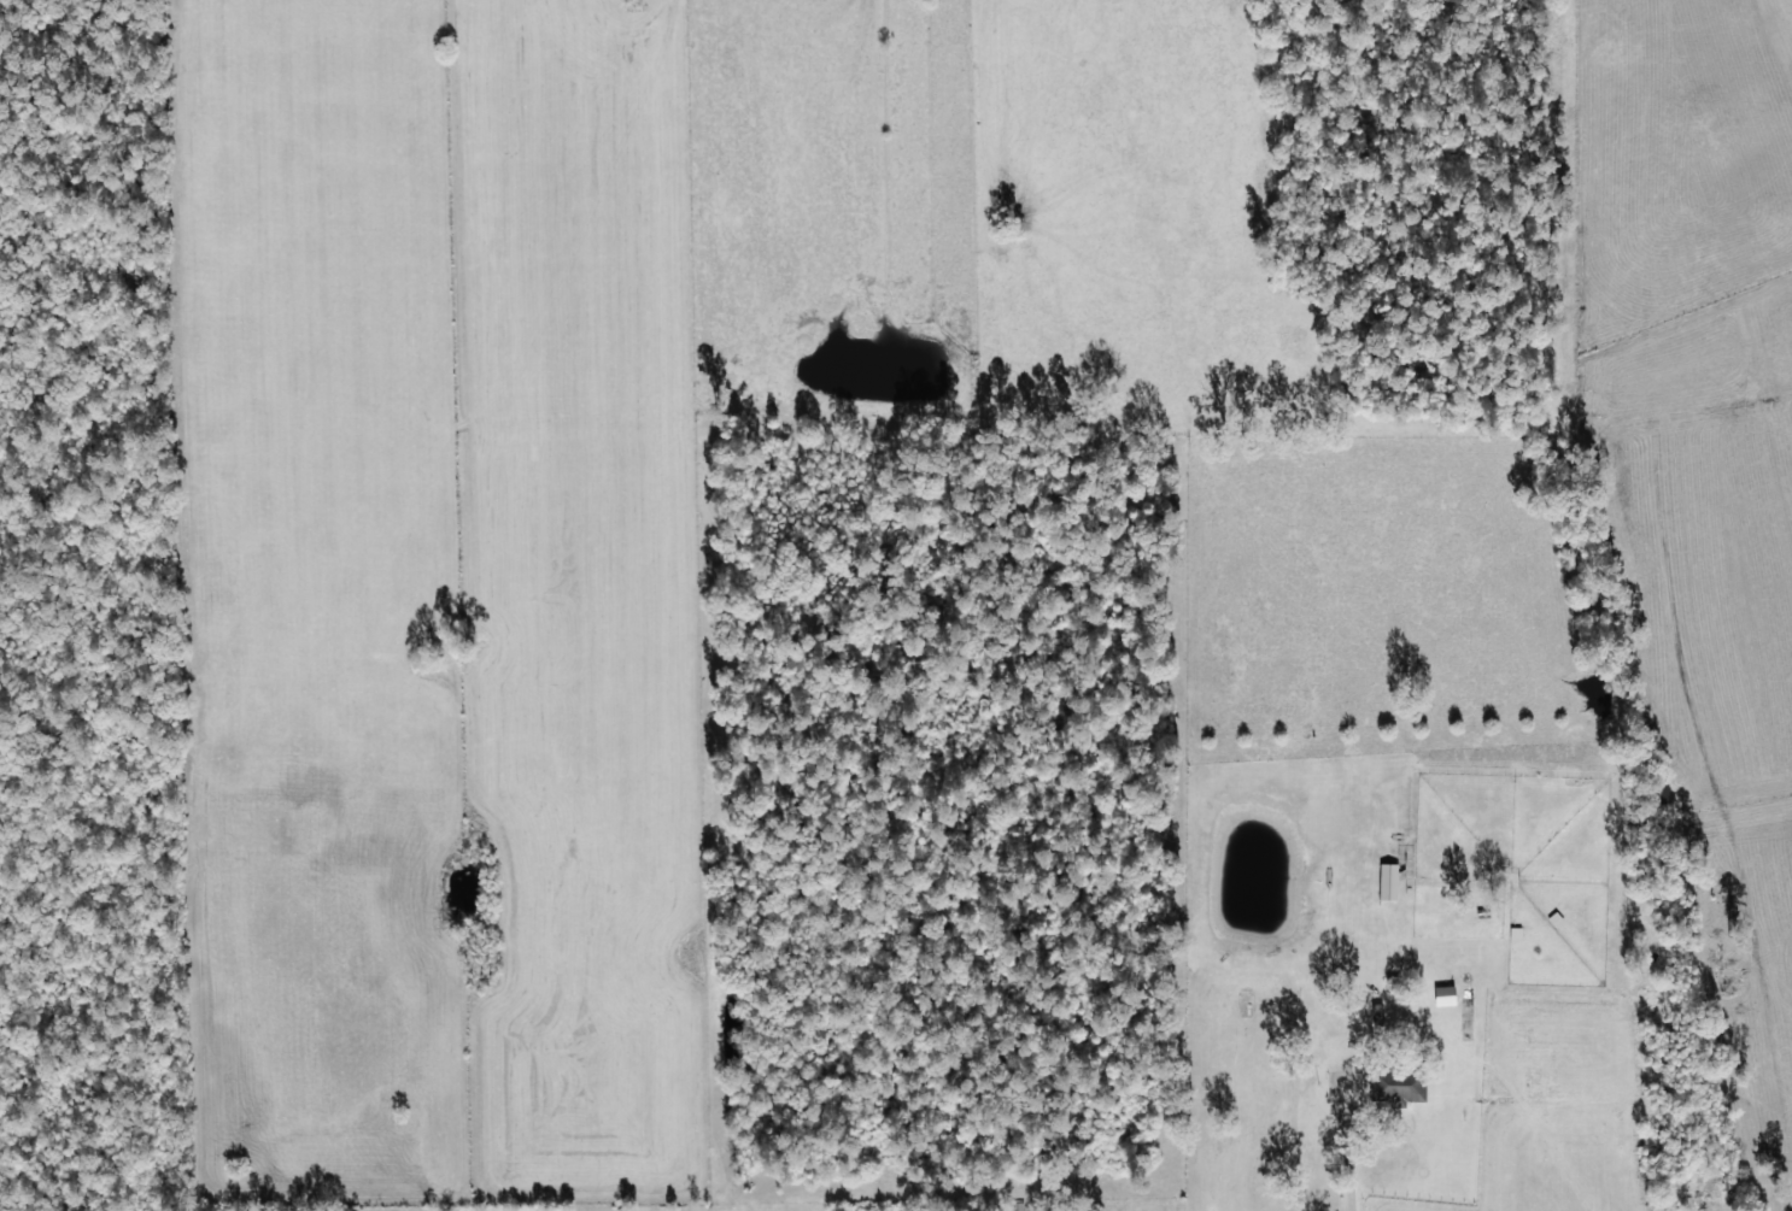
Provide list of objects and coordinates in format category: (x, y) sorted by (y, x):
building: (1387, 881)
building: (1443, 994)

